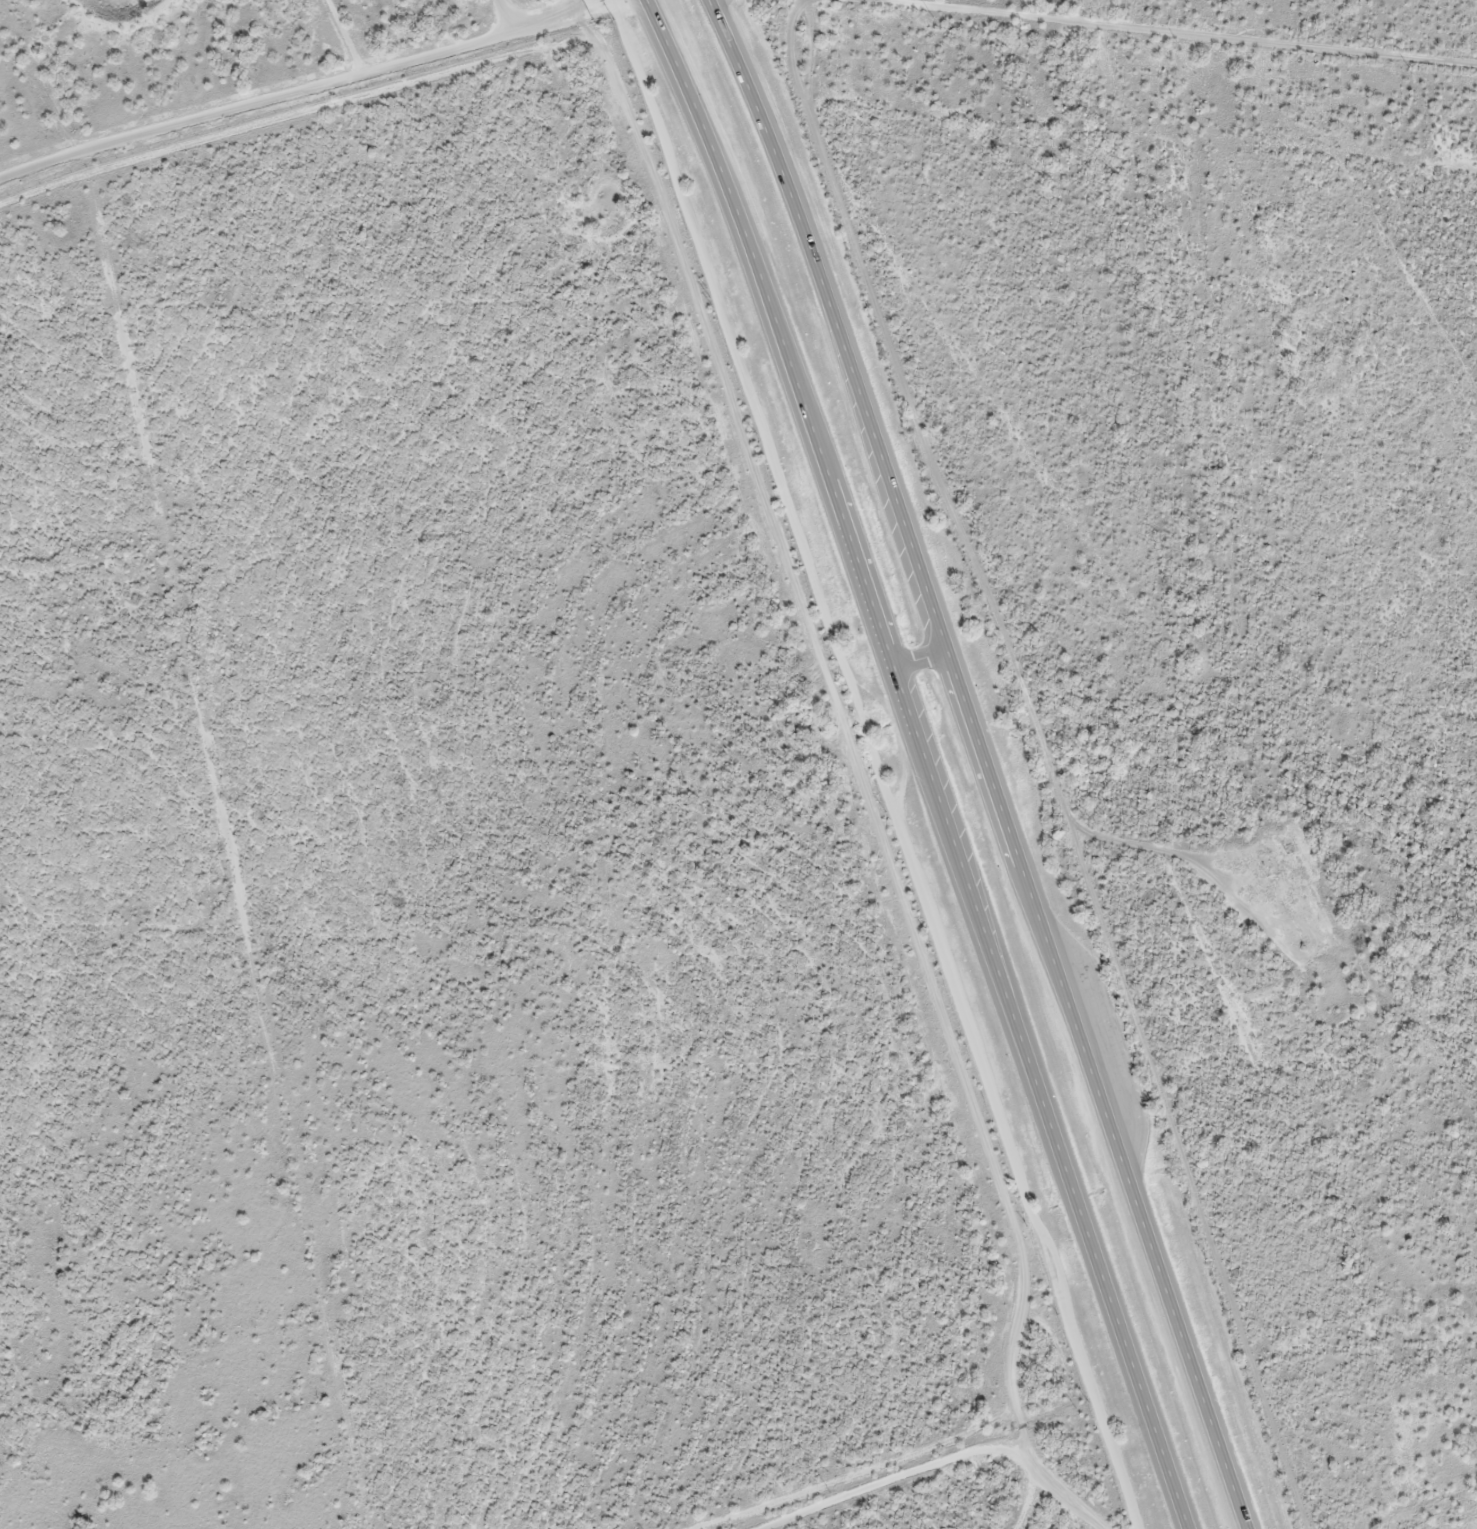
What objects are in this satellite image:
road: (1130, 35)
road: (354, 85)
road: (919, 758)
road: (996, 759)

